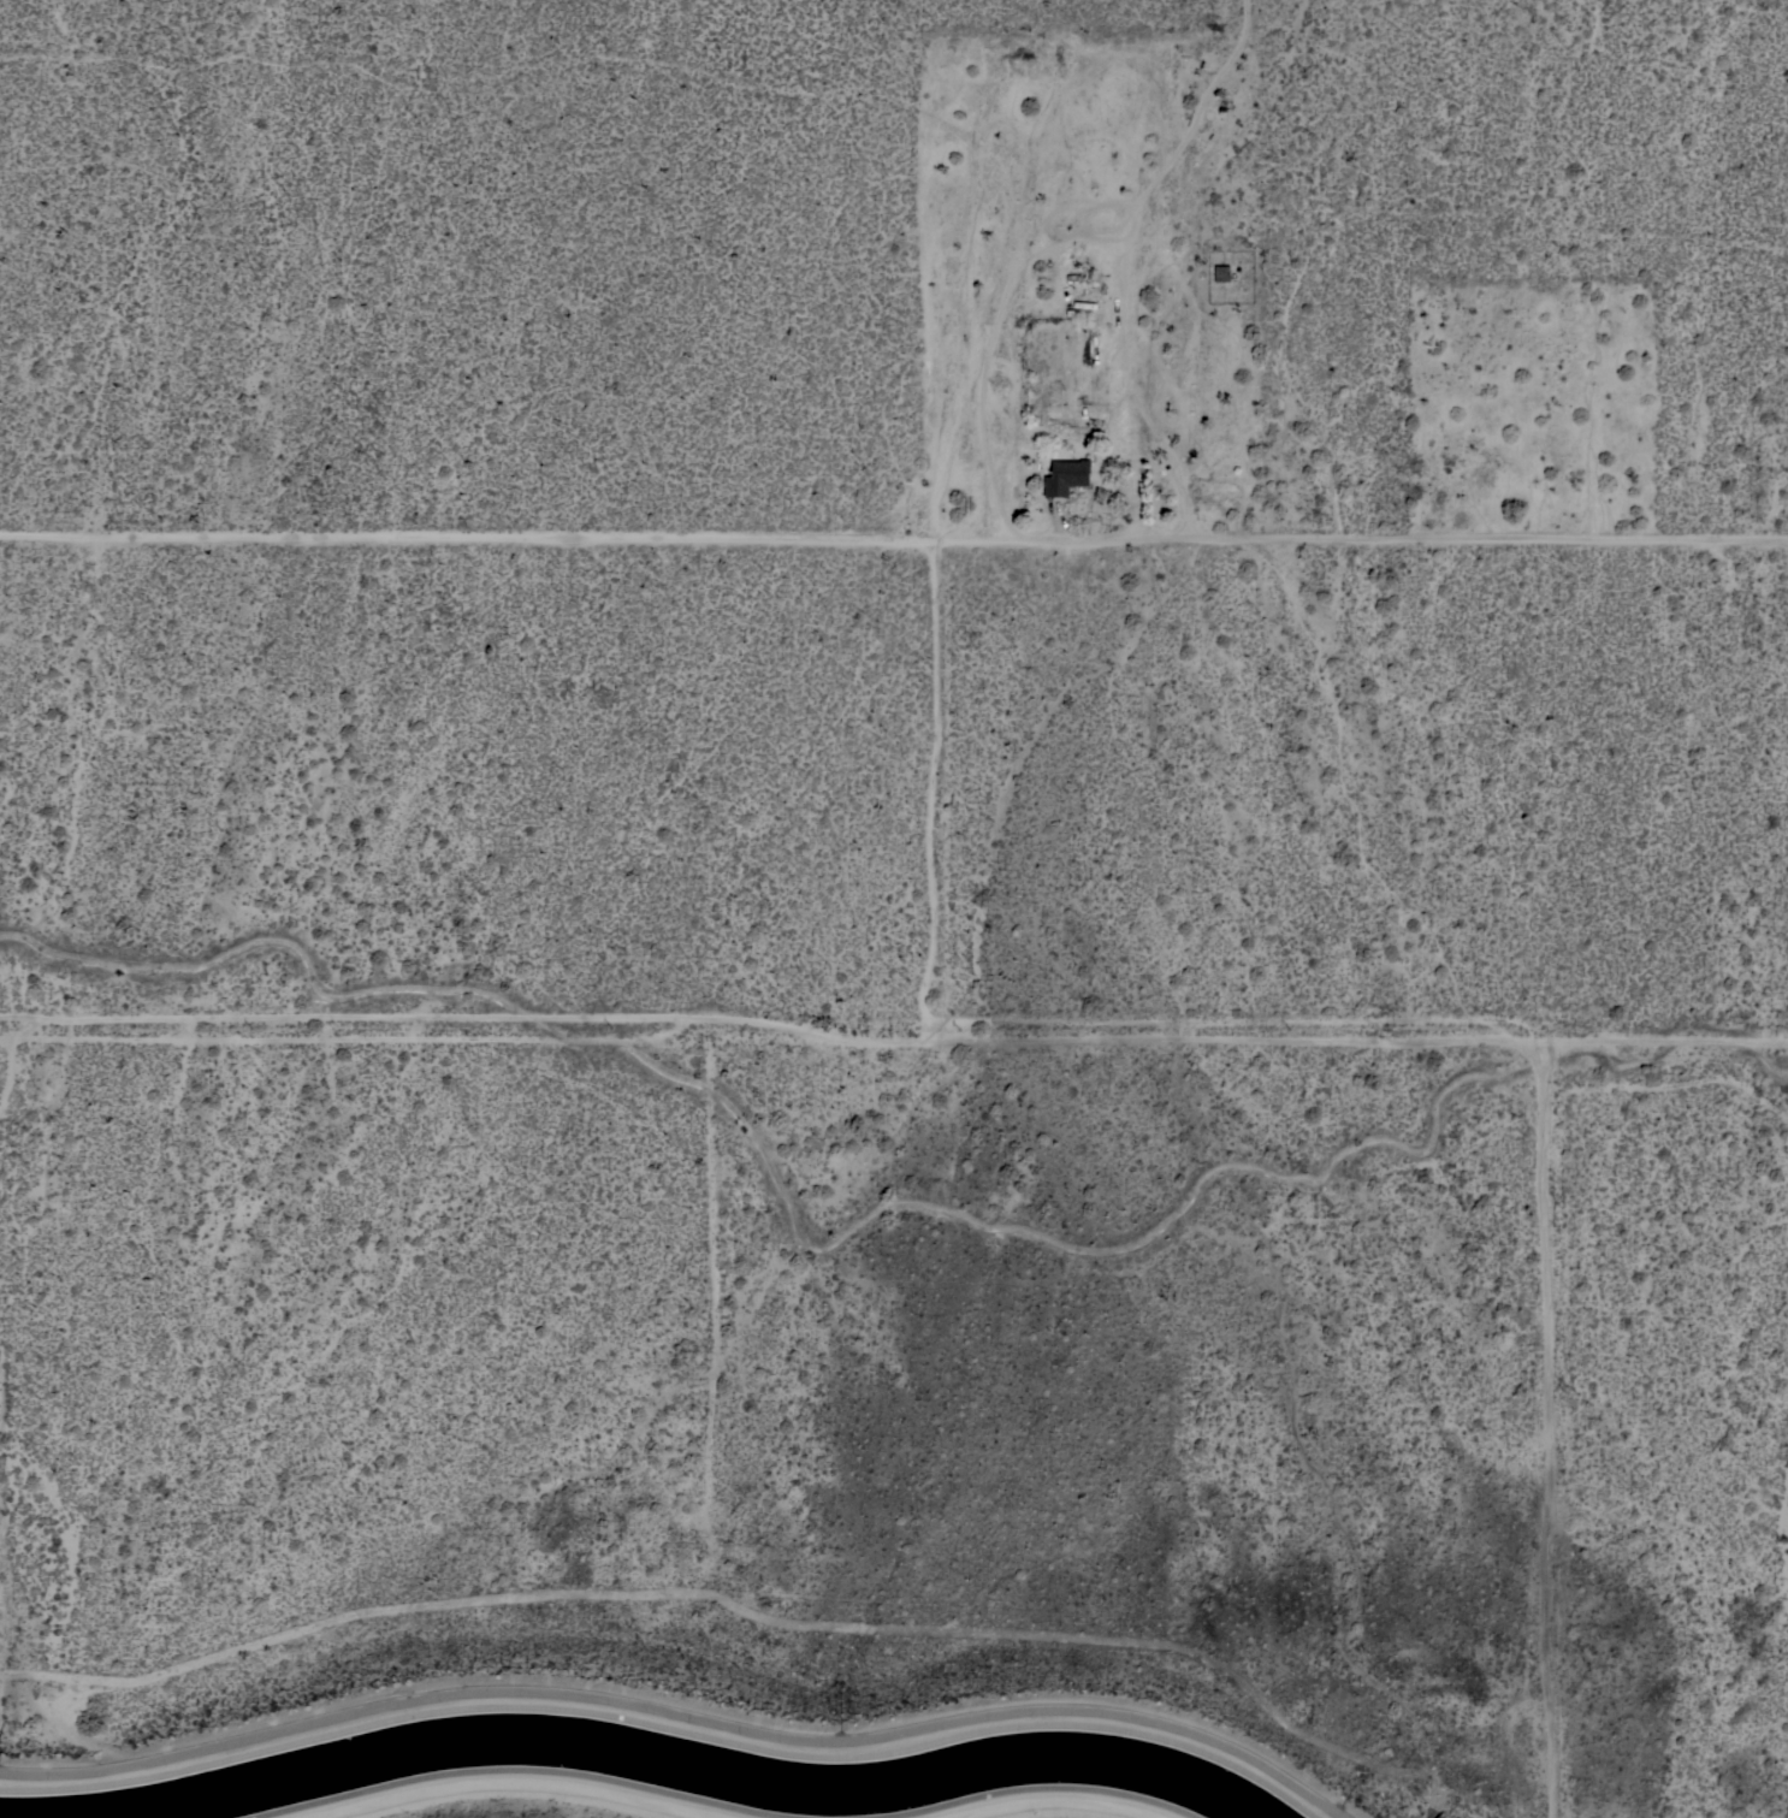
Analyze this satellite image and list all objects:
building: (1221, 273)
building: (999, 313)
building: (931, 372)
building: (1065, 476)
road: (894, 538)
road: (1668, 1040)
road: (1551, 1429)

